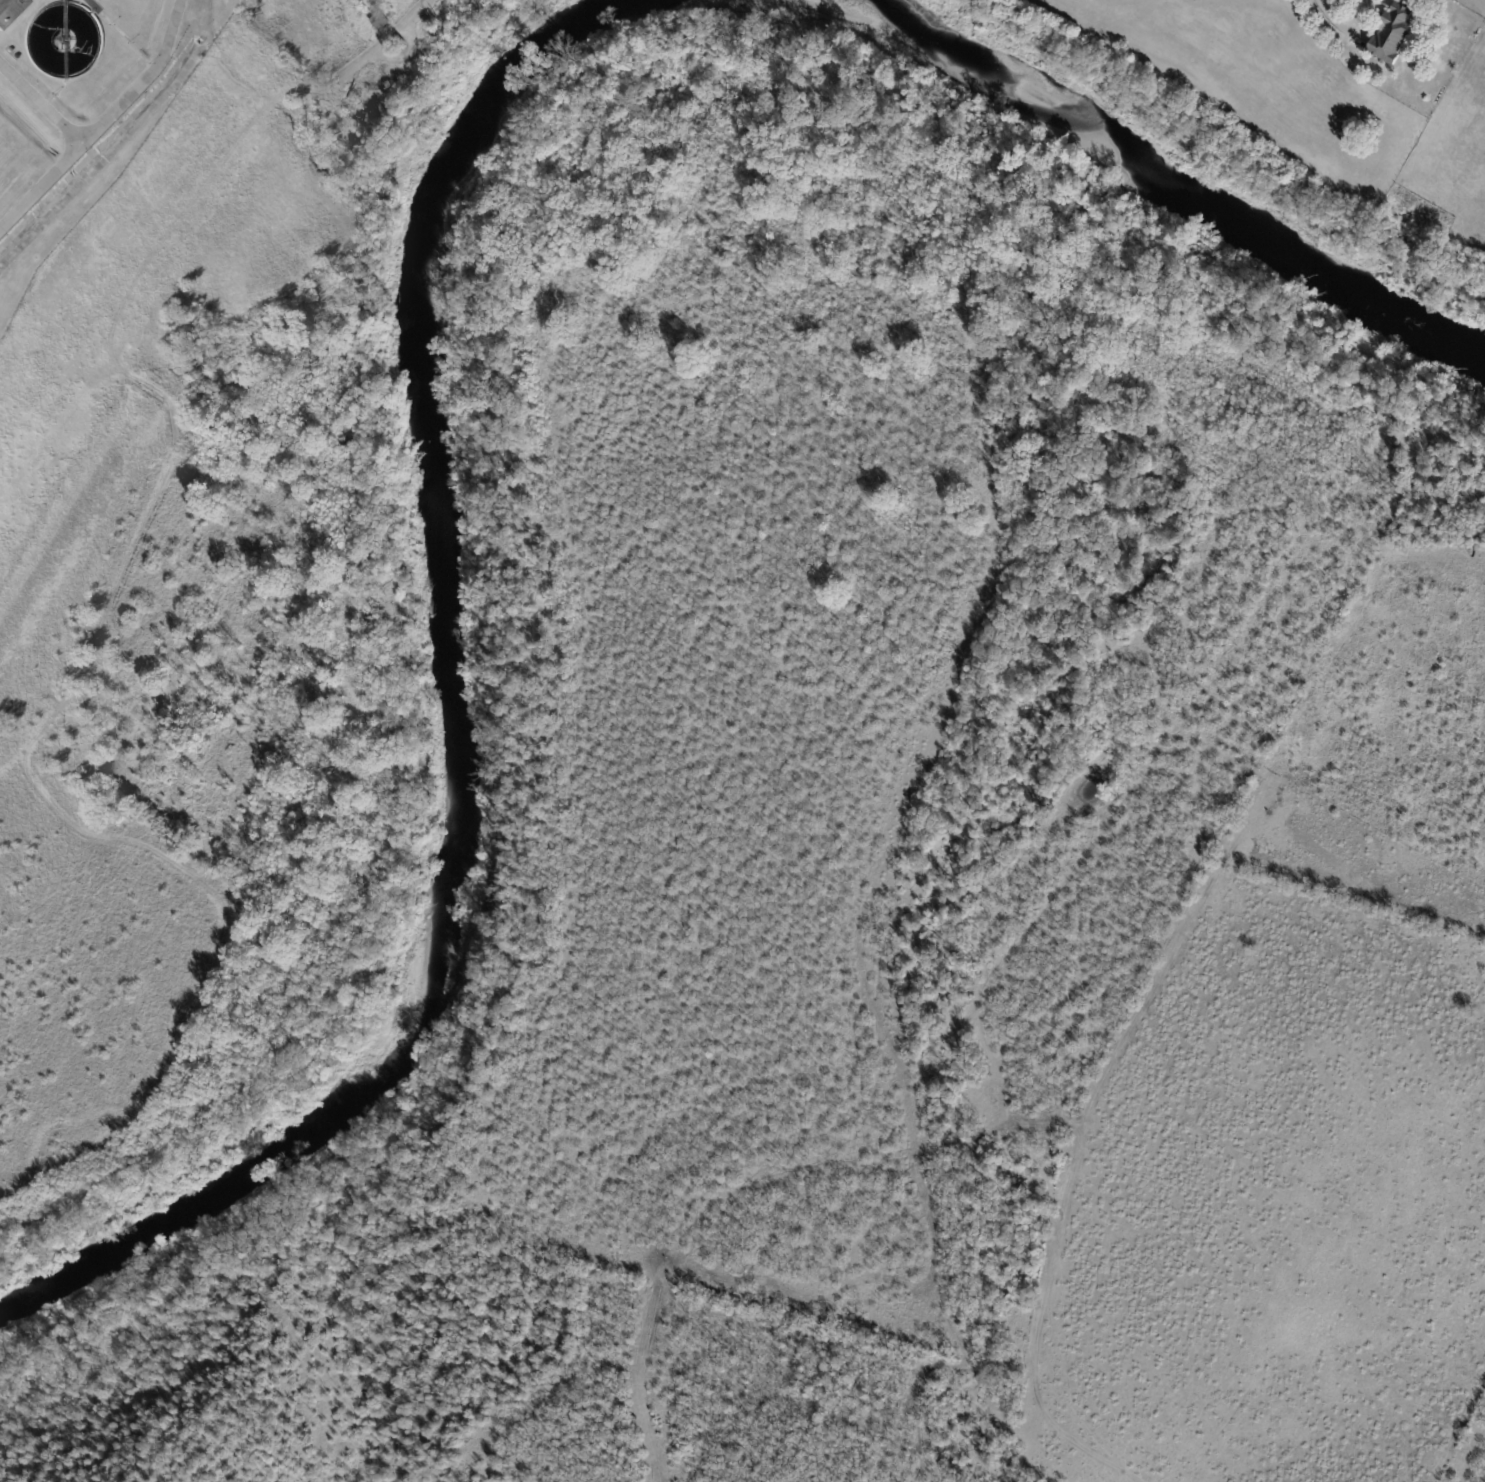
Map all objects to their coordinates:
building: (1420, 3)
road: (1361, 6)
building: (9, 10)
building: (381, 22)
building: (1395, 35)
building: (401, 44)
road: (41, 105)
wastewater plant: (80, 107)
road: (104, 122)
river: (1175, 183)
river: (453, 719)
park: (82, 1439)

